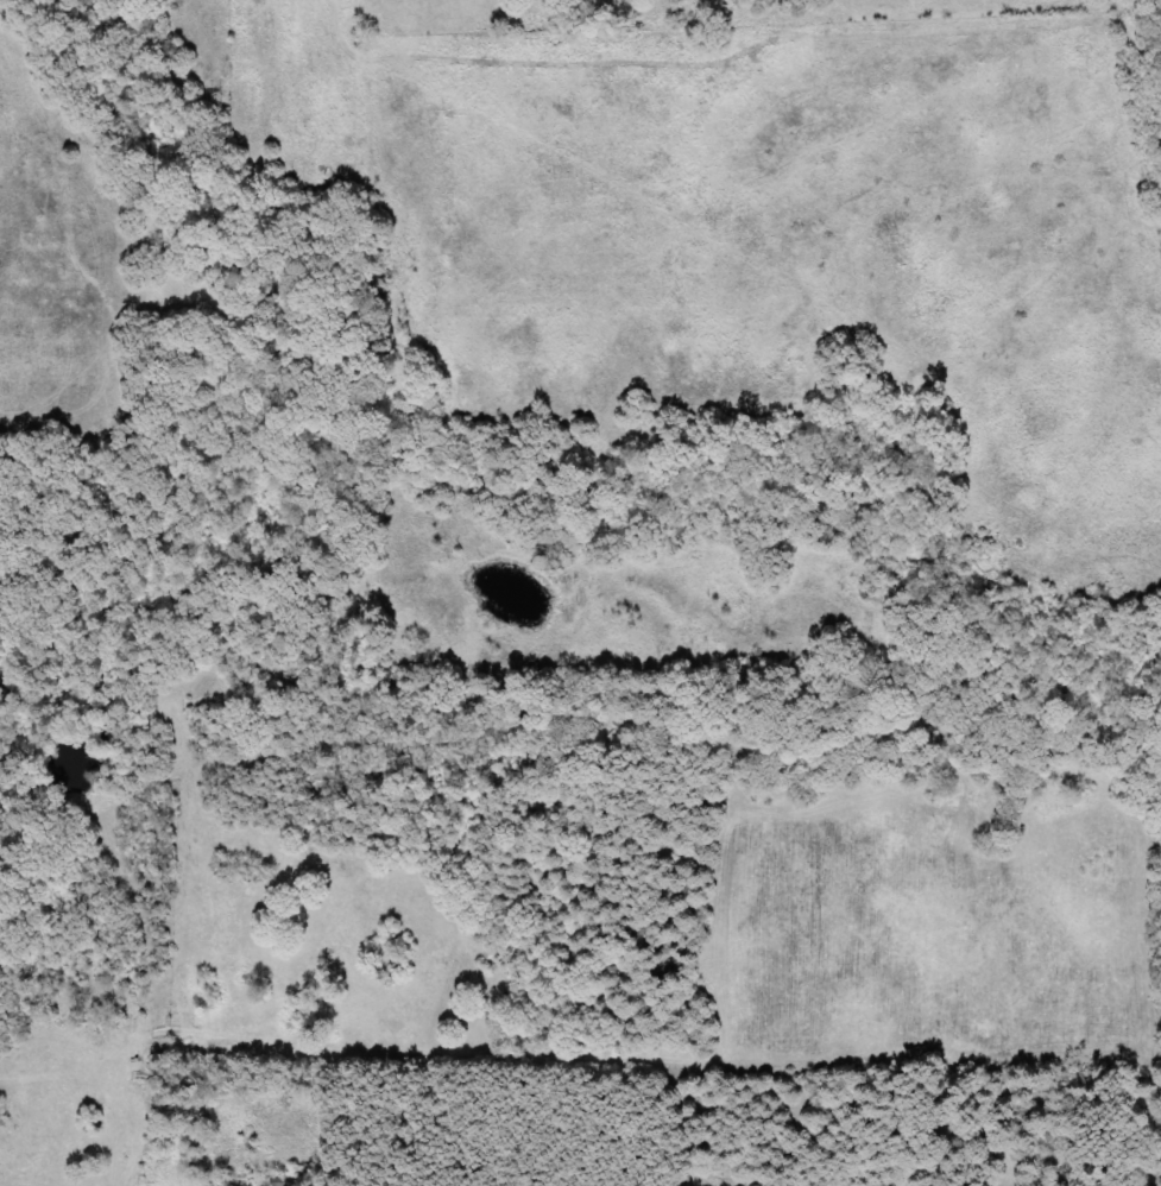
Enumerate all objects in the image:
building: (219, 1182)

